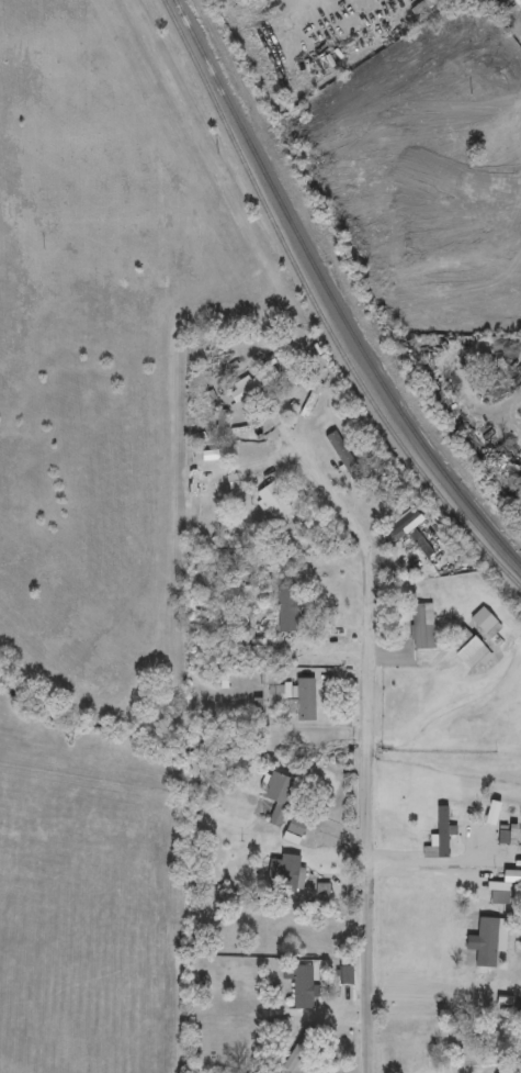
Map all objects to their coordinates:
building: (421, 7)
road: (514, 121)
building: (486, 174)
railway: (331, 293)
railway: (319, 308)
building: (252, 384)
building: (297, 389)
building: (270, 501)
building: (401, 524)
building: (285, 611)
building: (484, 624)
building: (421, 627)
building: (508, 645)
building: (466, 650)
building: (303, 701)
road: (369, 746)
building: (276, 796)
building: (295, 826)
building: (439, 837)
road: (432, 865)
building: (285, 872)
building: (486, 942)
building: (302, 987)
building: (510, 1069)

